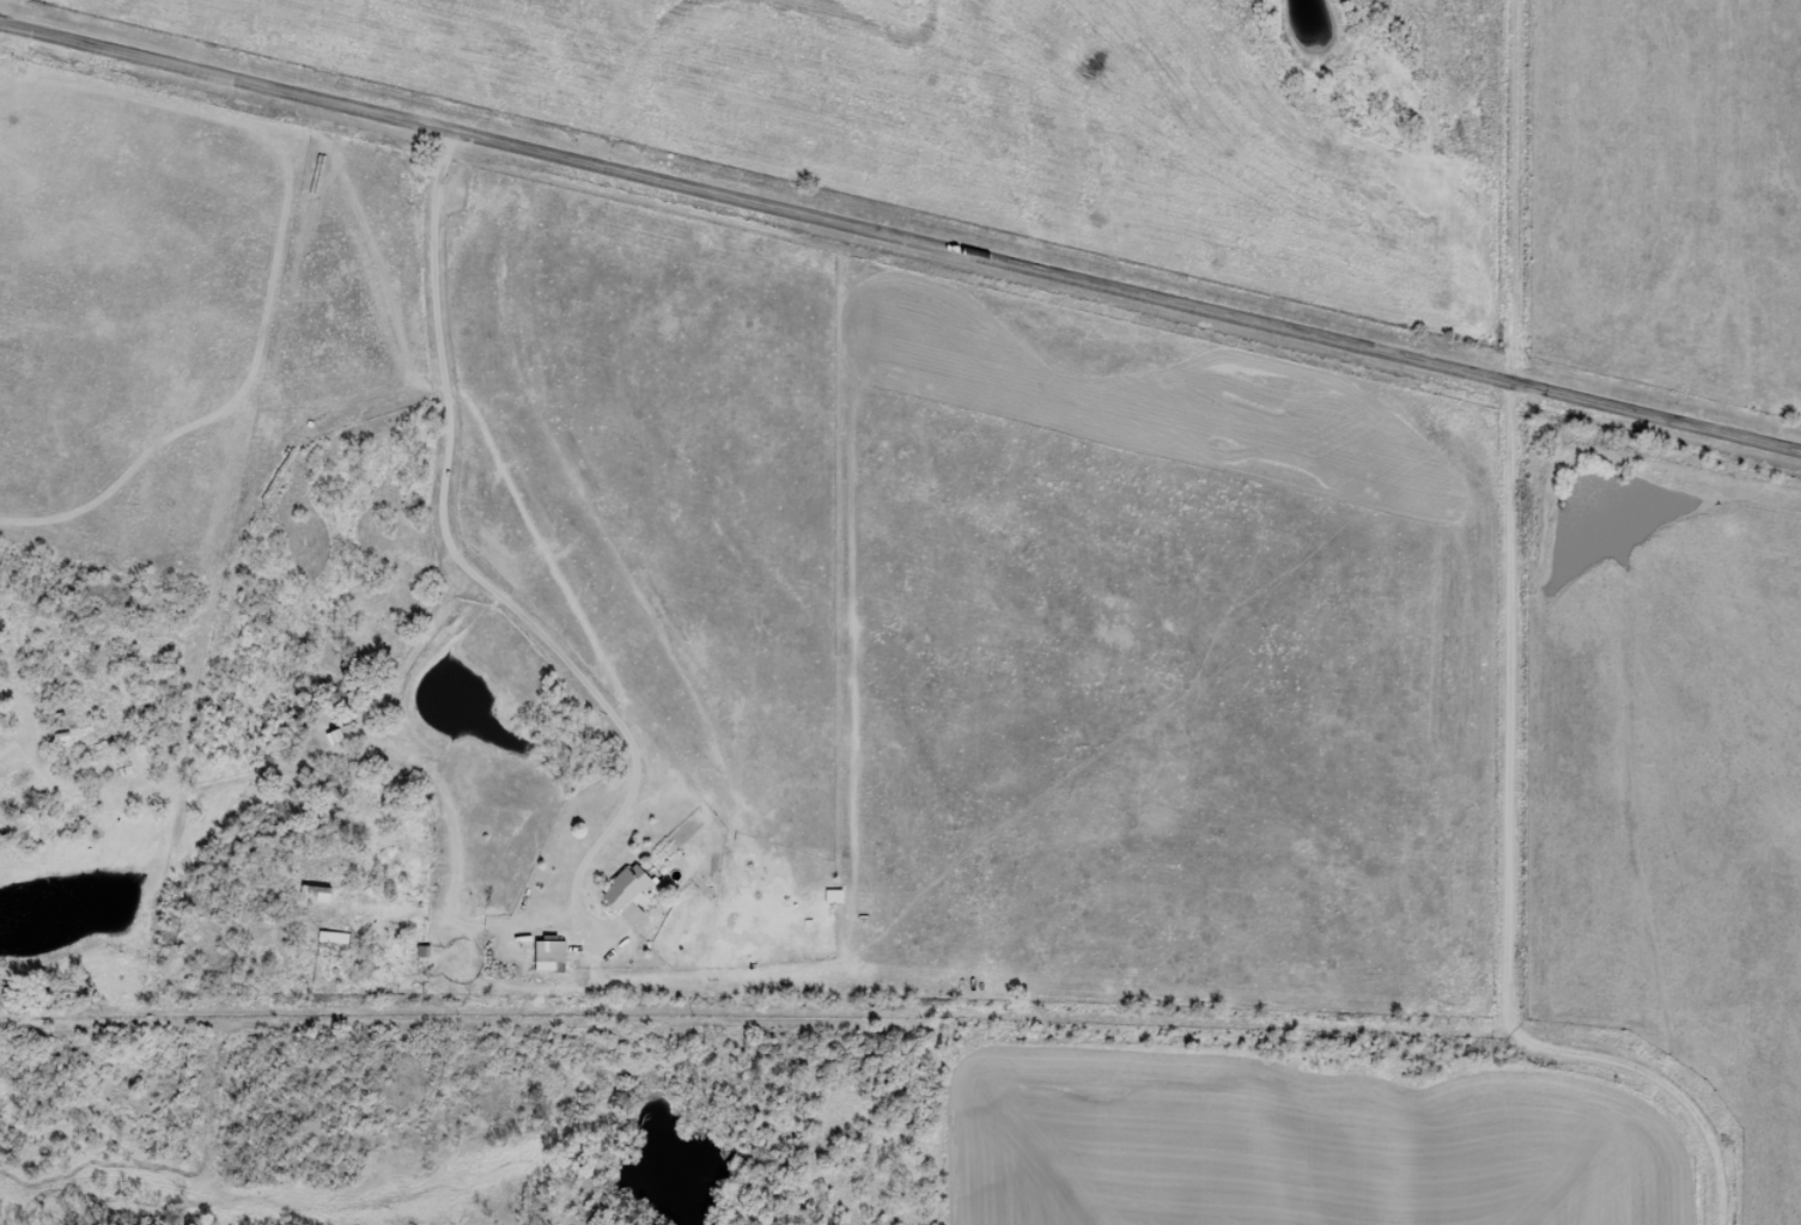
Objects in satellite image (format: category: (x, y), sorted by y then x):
road: (900, 238)
road: (1511, 675)
building: (629, 894)
building: (550, 955)
road: (779, 1013)

